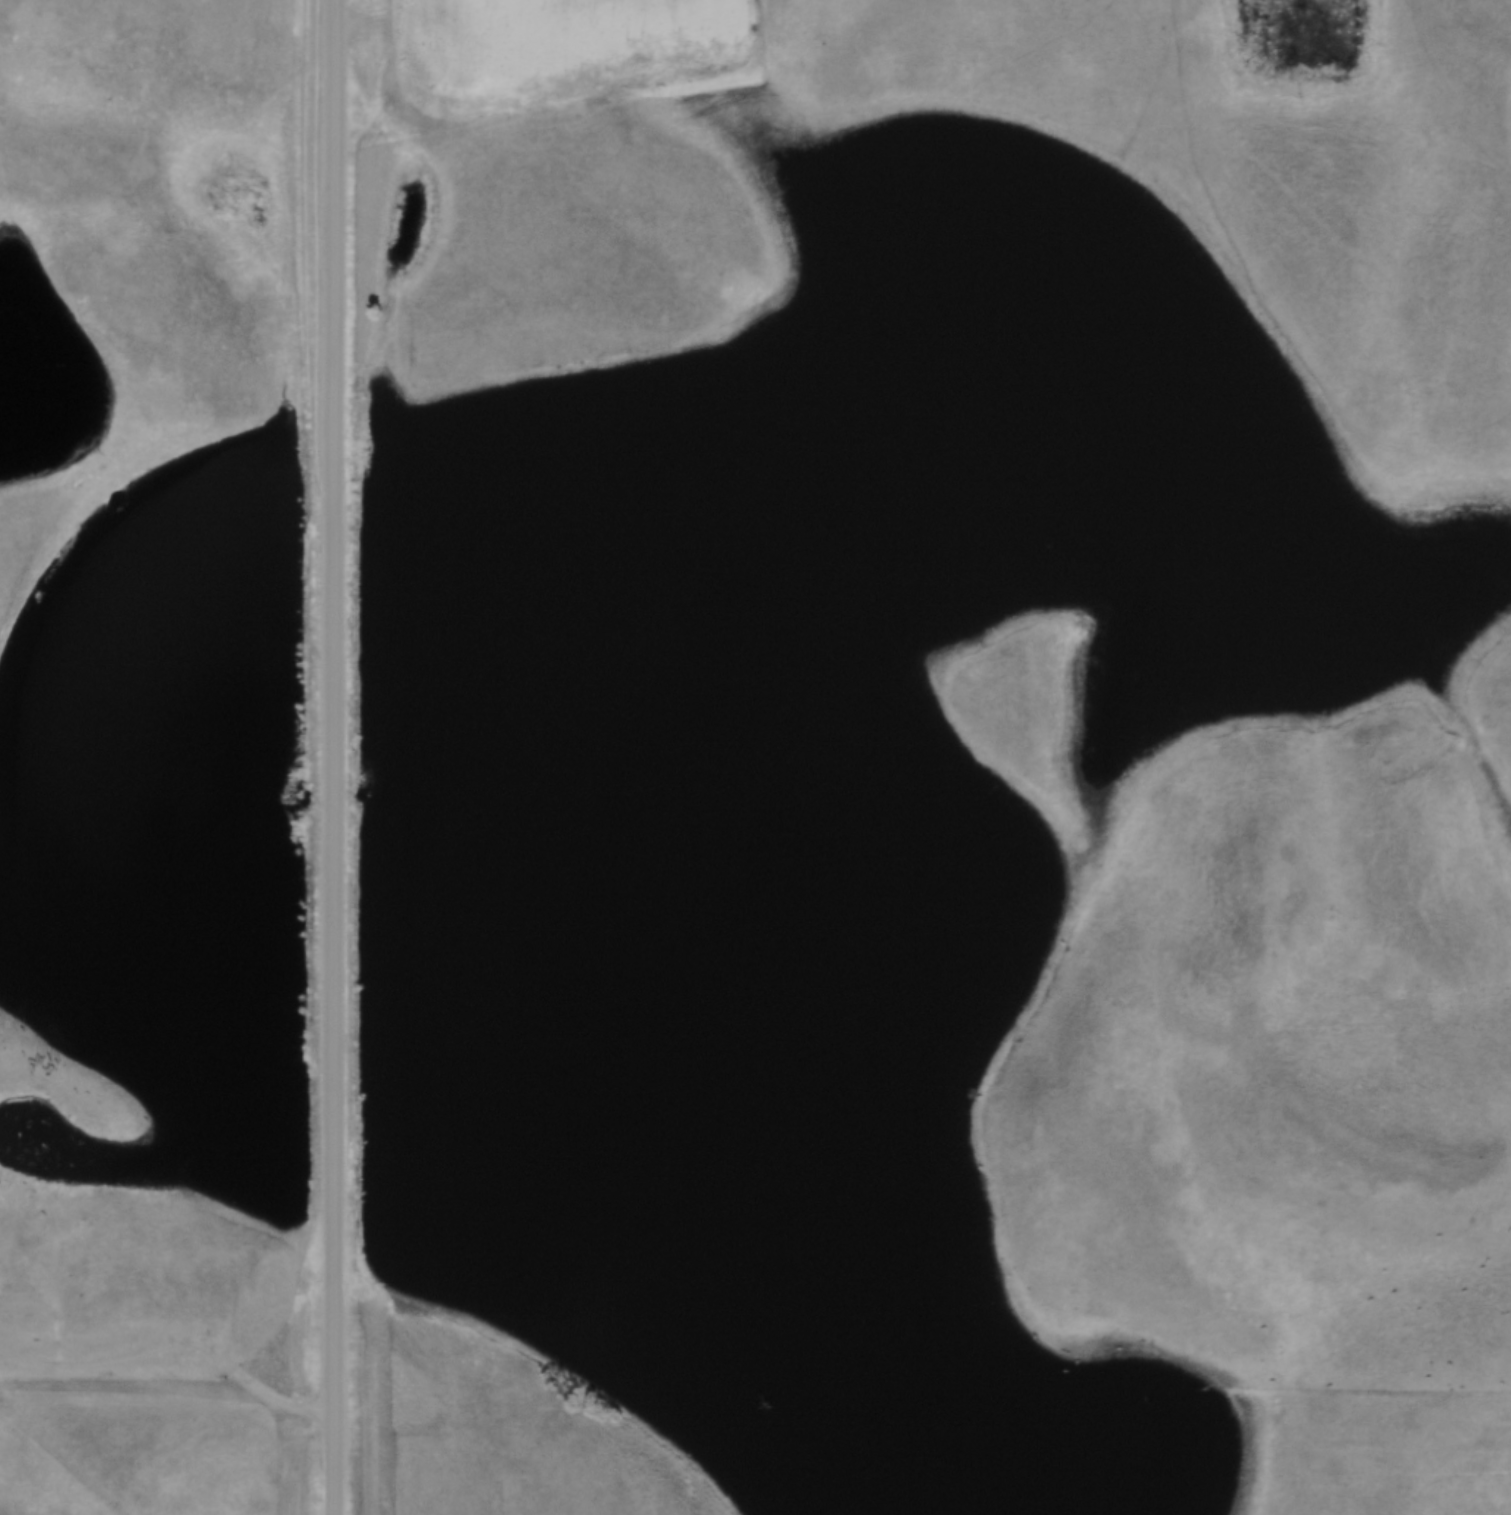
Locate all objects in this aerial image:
road: (334, 757)
road: (167, 1402)

